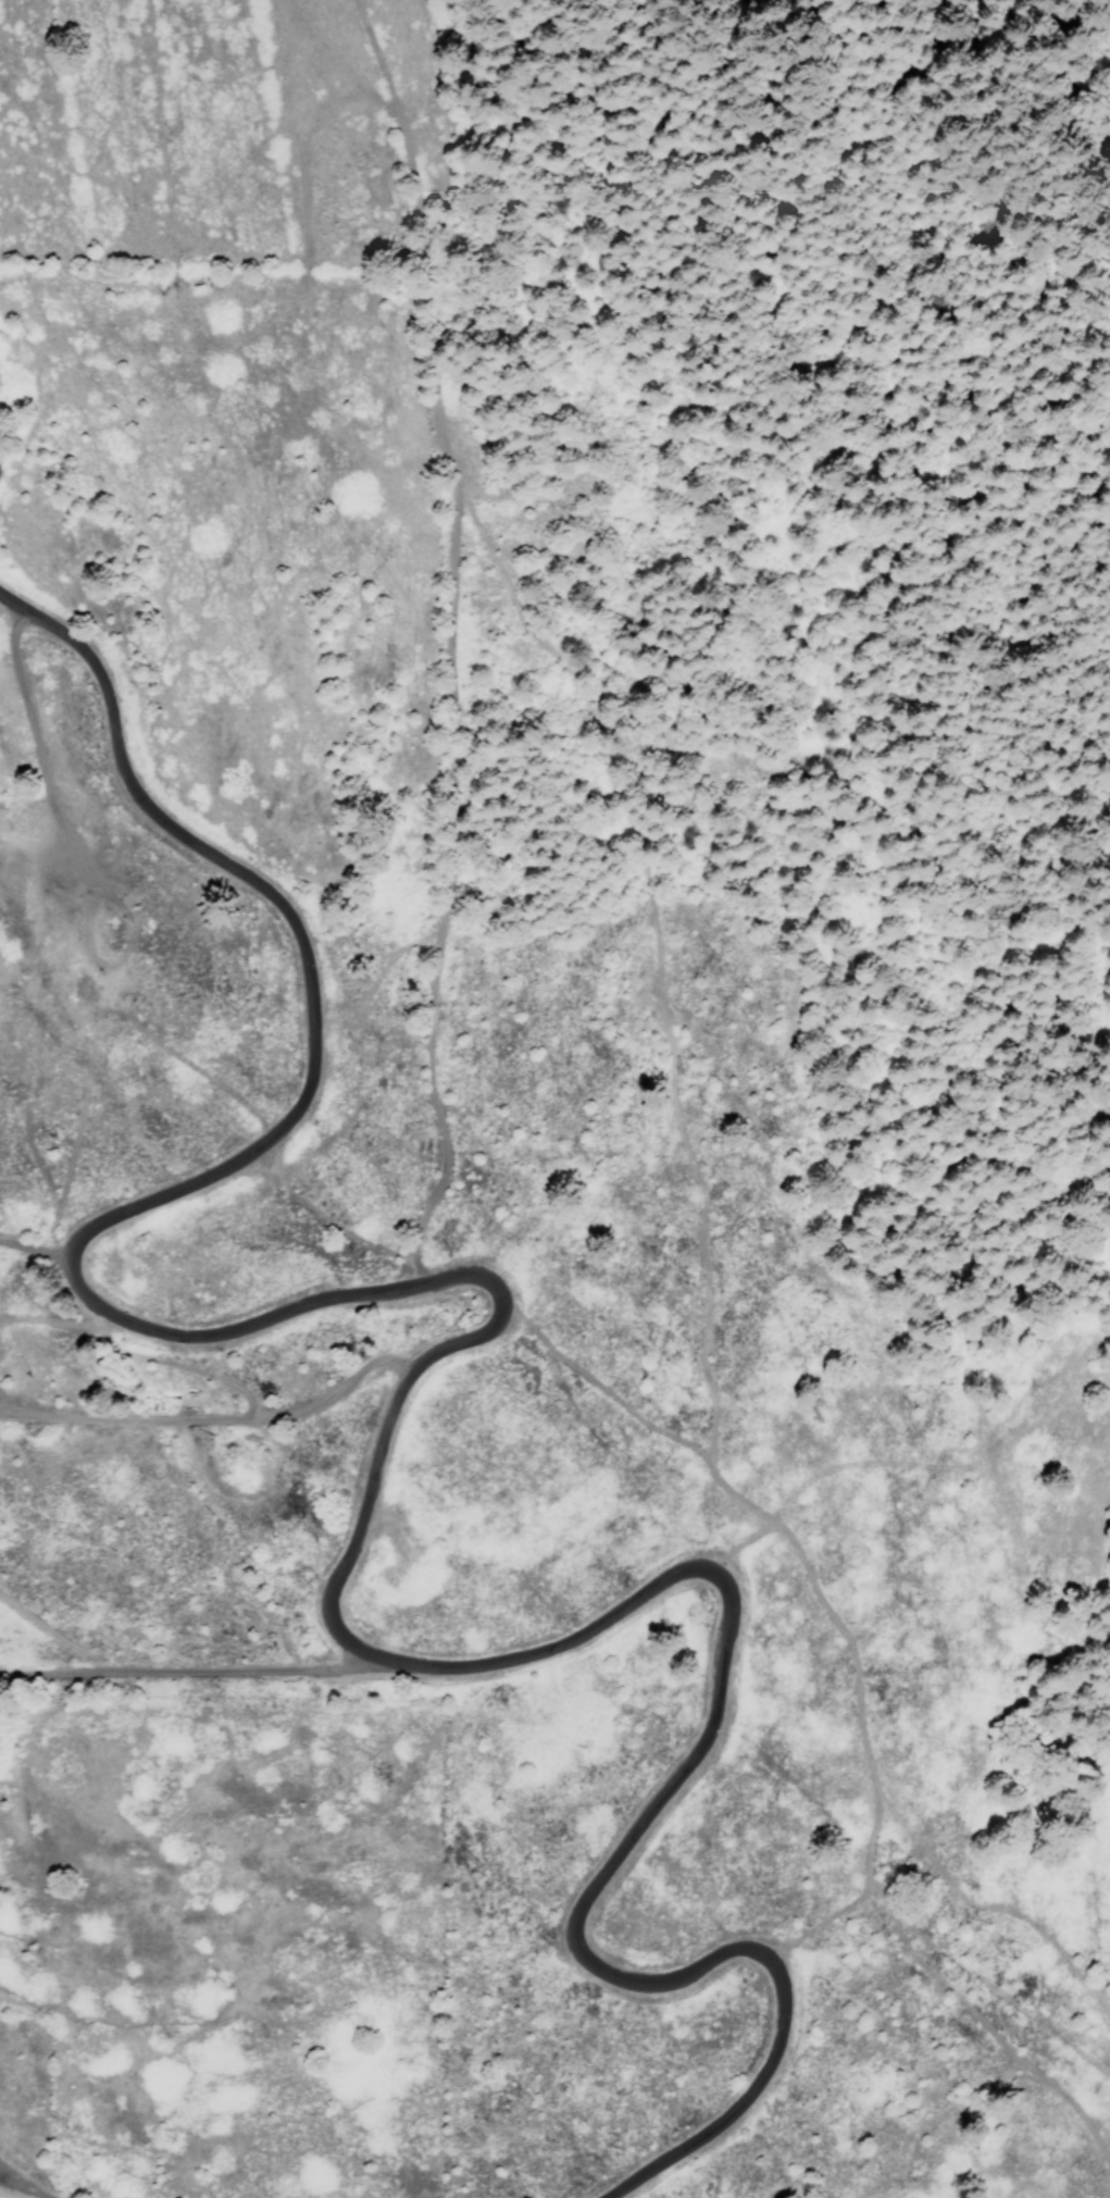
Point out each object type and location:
road: (451, 645)
road: (35, 1253)
road: (392, 1418)
road: (194, 1673)
road: (24, 2186)

